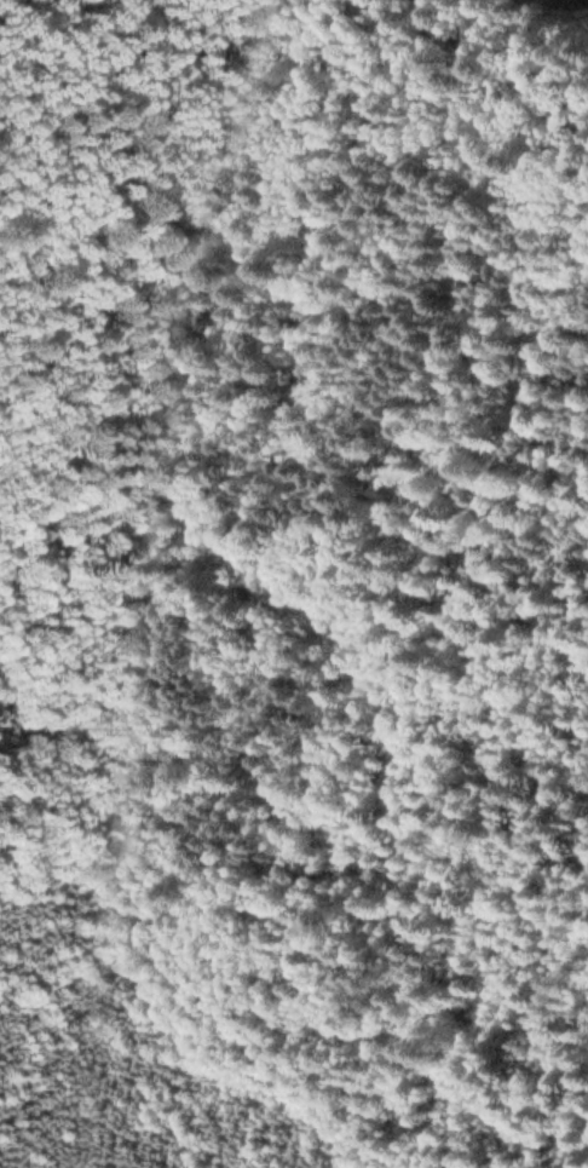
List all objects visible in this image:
road: (515, 67)

